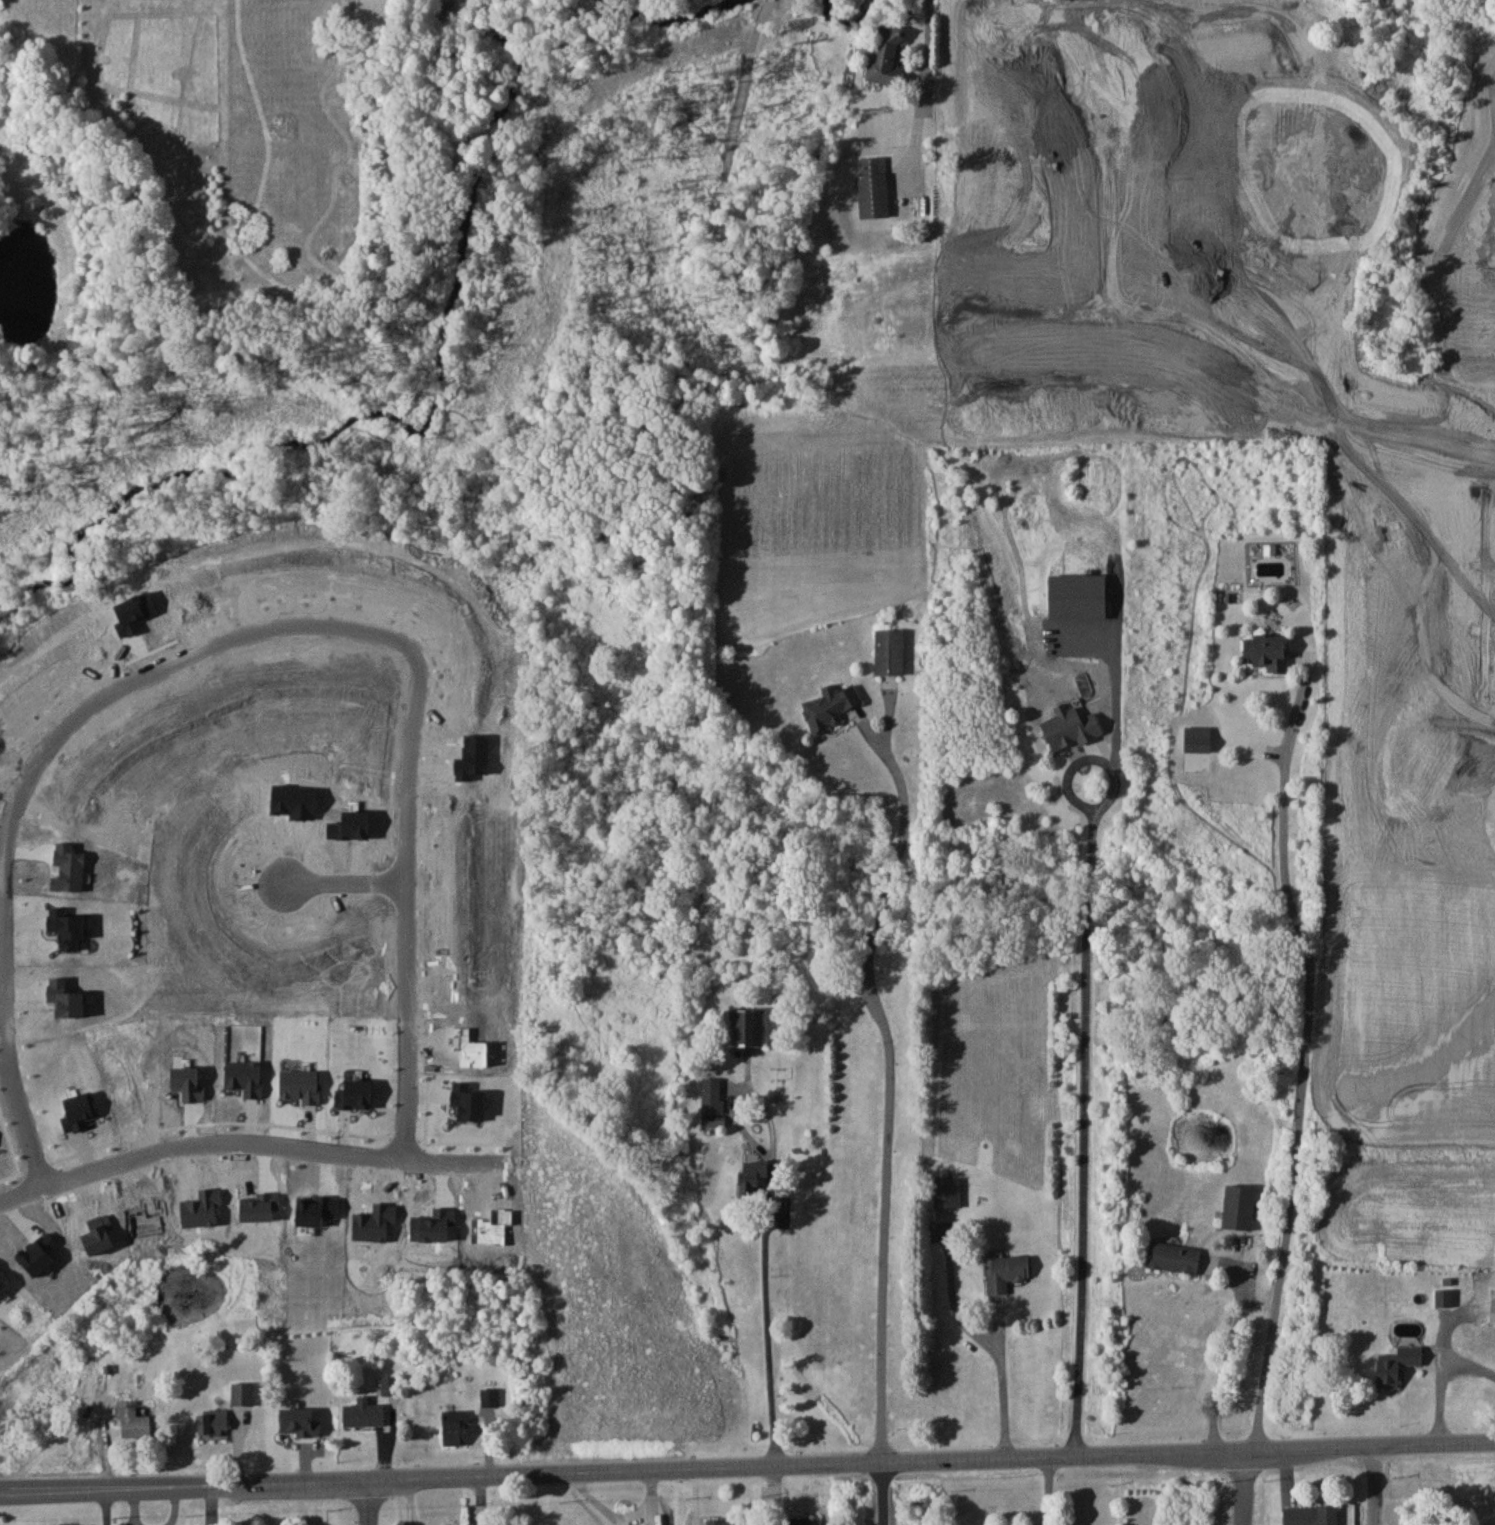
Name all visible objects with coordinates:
building: (887, 57)
road: (919, 96)
building: (874, 188)
road: (1112, 219)
road: (1236, 349)
road: (377, 636)
building: (890, 651)
building: (1269, 652)
building: (831, 707)
building: (1072, 727)
road: (345, 882)
road: (5, 967)
building: (748, 1028)
road: (1304, 1062)
road: (404, 1068)
road: (890, 1092)
building: (713, 1105)
road: (1087, 1118)
road: (241, 1149)
building: (753, 1174)
building: (948, 1192)
building: (1240, 1206)
building: (1174, 1257)
building: (1007, 1271)
road: (762, 1292)
building: (1493, 1306)
road: (1225, 1361)
building: (1398, 1364)
road: (1439, 1366)
road: (1467, 1367)
building: (389, 1384)
road: (1003, 1390)
building: (243, 1393)
building: (489, 1396)
building: (364, 1413)
building: (132, 1420)
building: (214, 1422)
building: (456, 1427)
road: (44, 1442)
road: (747, 1466)
road: (1246, 1486)
road: (1376, 1486)
road: (1043, 1490)
road: (882, 1493)
road: (365, 1503)
road: (107, 1508)
building: (1311, 1515)
building: (804, 1521)
building: (722, 1522)

